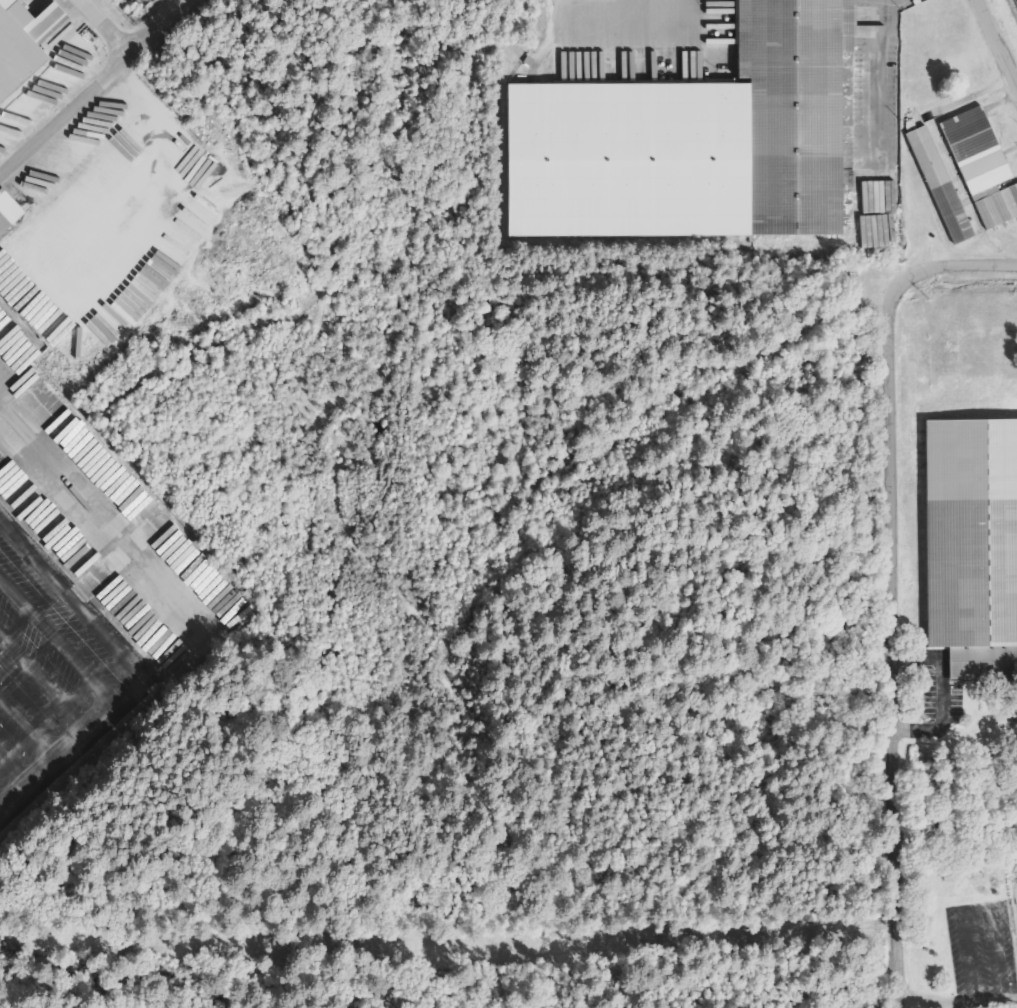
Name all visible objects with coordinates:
railway: (1014, 6)
building: (26, 42)
road: (995, 47)
building: (694, 141)
building: (972, 149)
building: (935, 185)
building: (1013, 196)
building: (8, 212)
building: (973, 546)
road: (889, 584)
road: (62, 643)
parking lot: (48, 667)
road: (151, 671)
road: (45, 688)
road: (31, 730)
road: (17, 772)
road: (2, 814)

